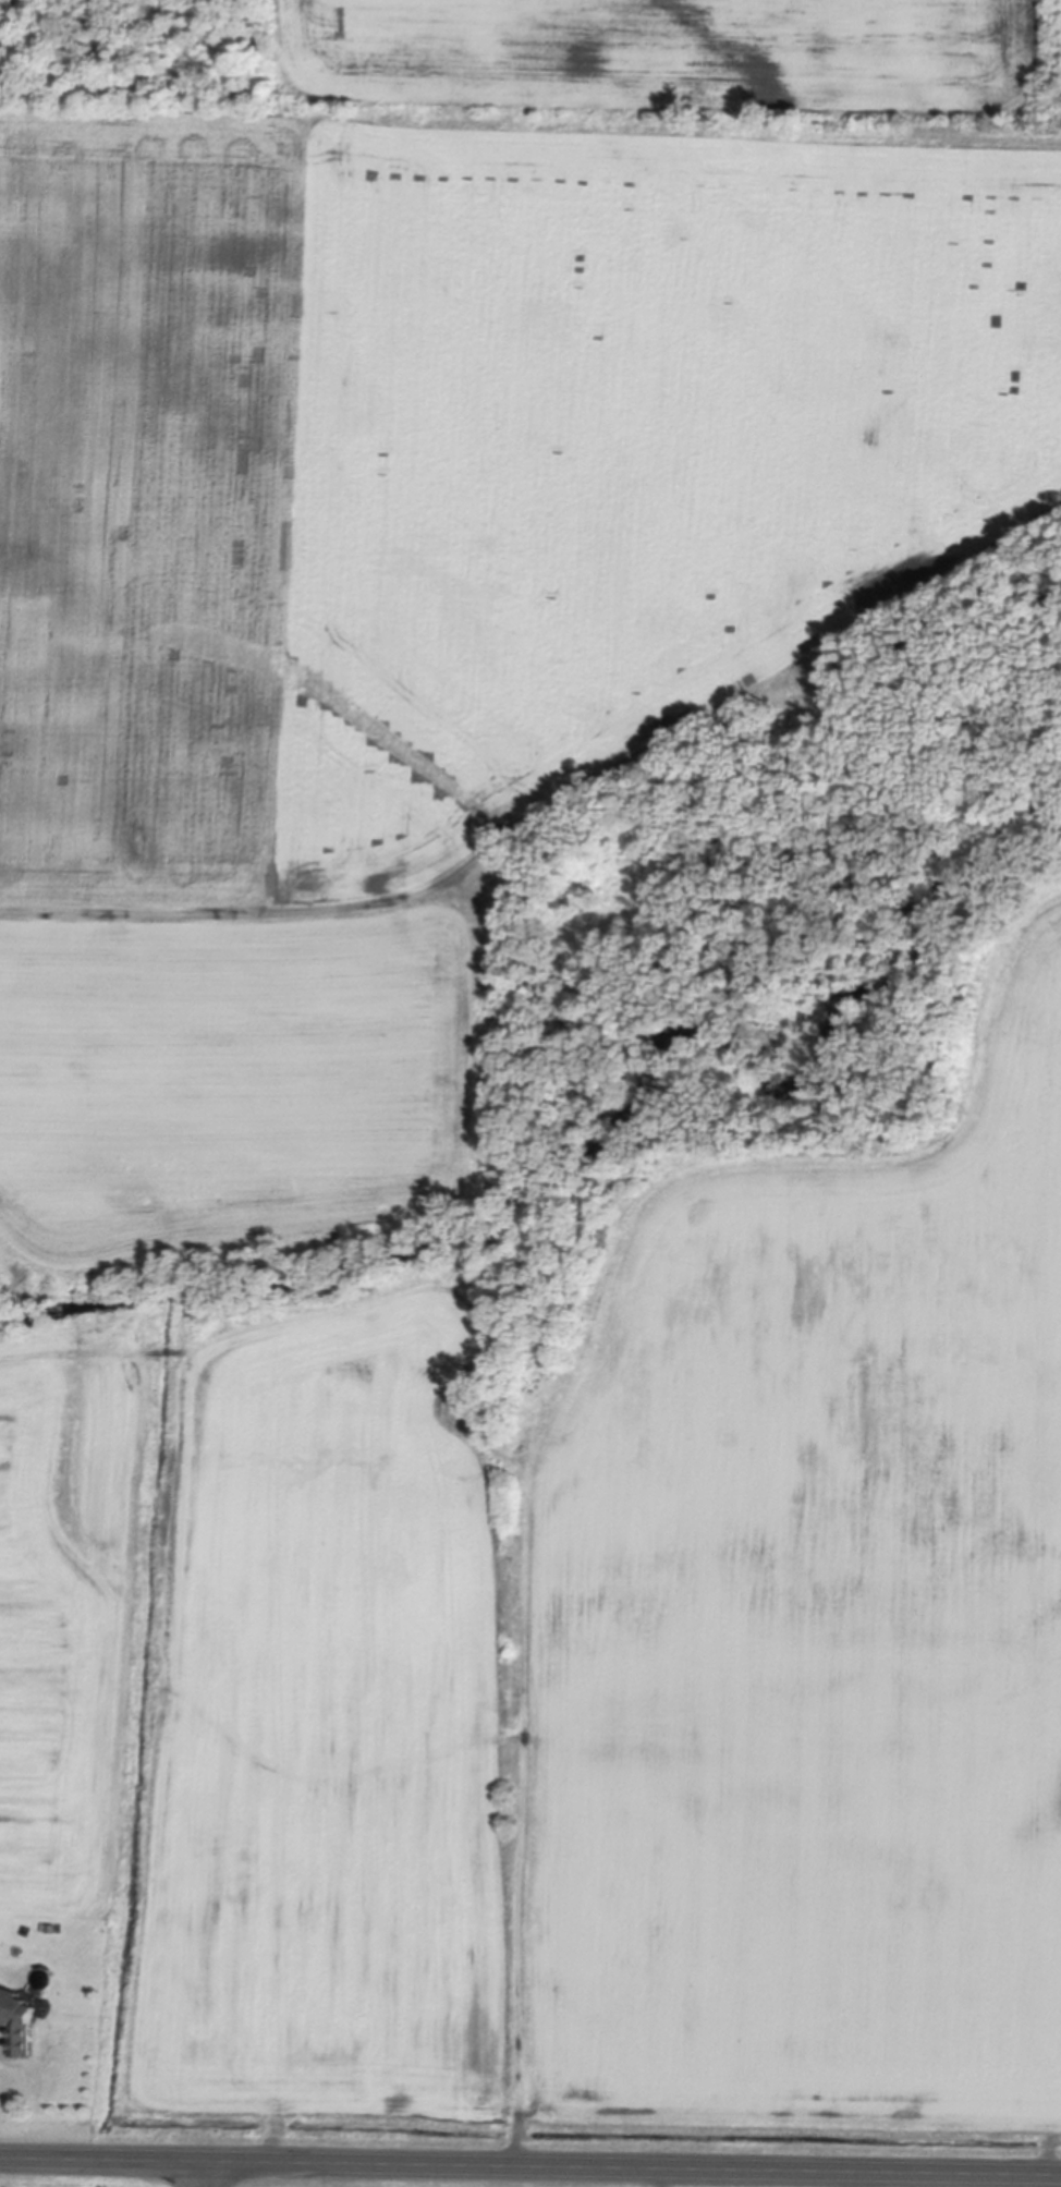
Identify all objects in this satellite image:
building: (51, 1927)
building: (17, 2016)
road: (529, 2170)
road: (209, 2176)
road: (1050, 2182)

